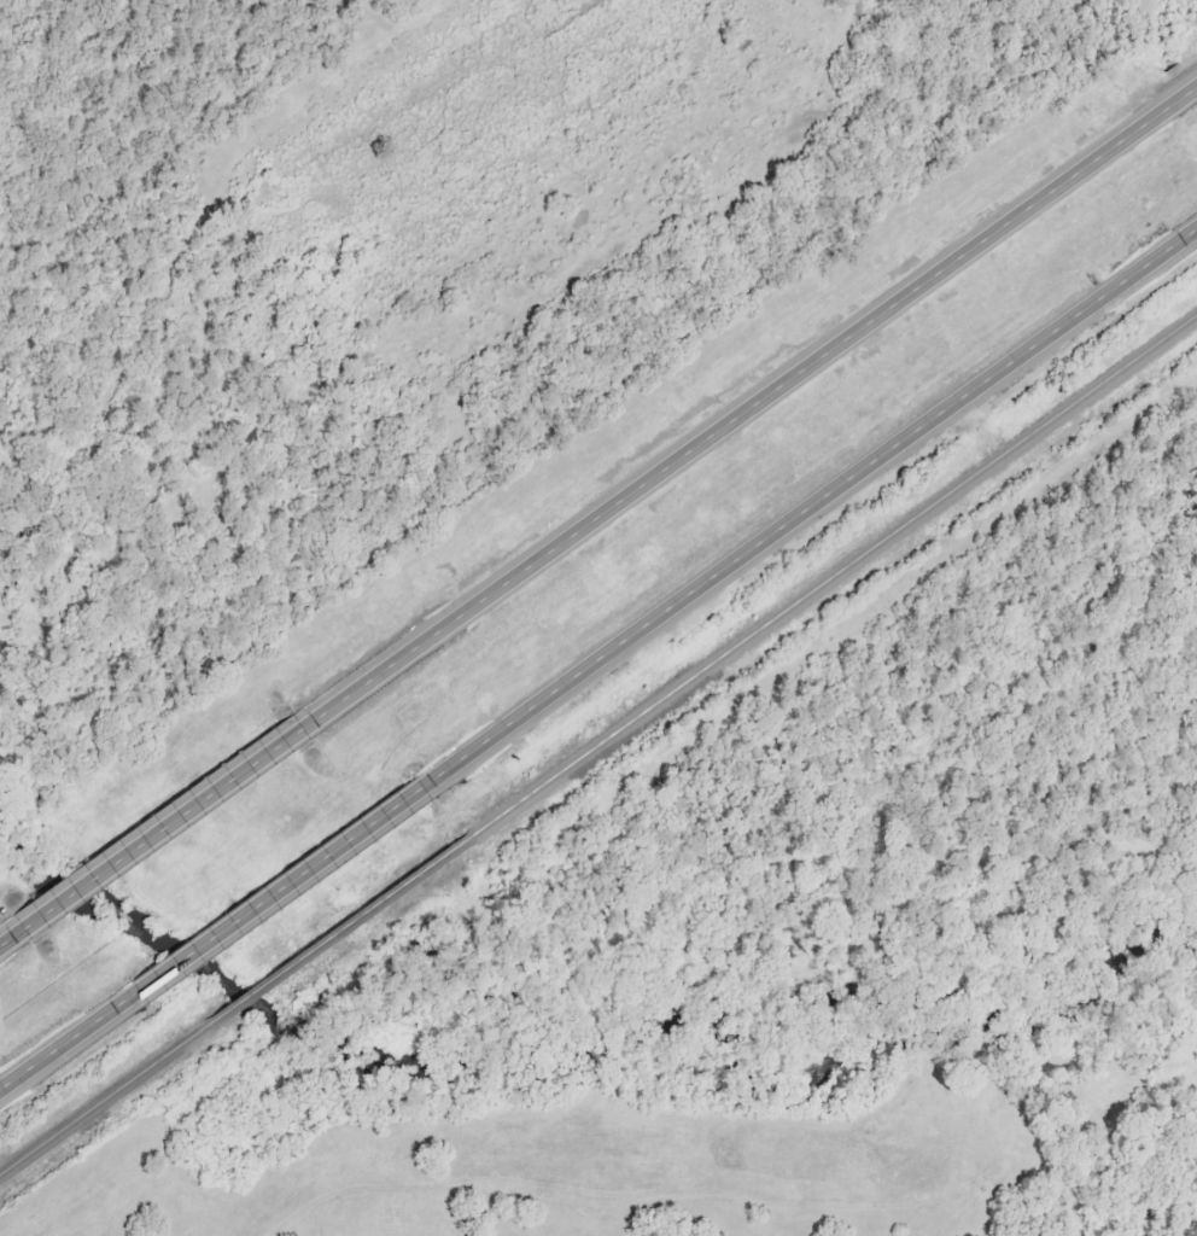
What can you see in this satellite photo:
road: (757, 402)
road: (817, 508)
railway: (830, 577)
road: (174, 817)
road: (290, 880)
road: (14, 931)
railway: (334, 934)
road: (71, 1036)
river: (579, 1050)
railway: (101, 1101)

